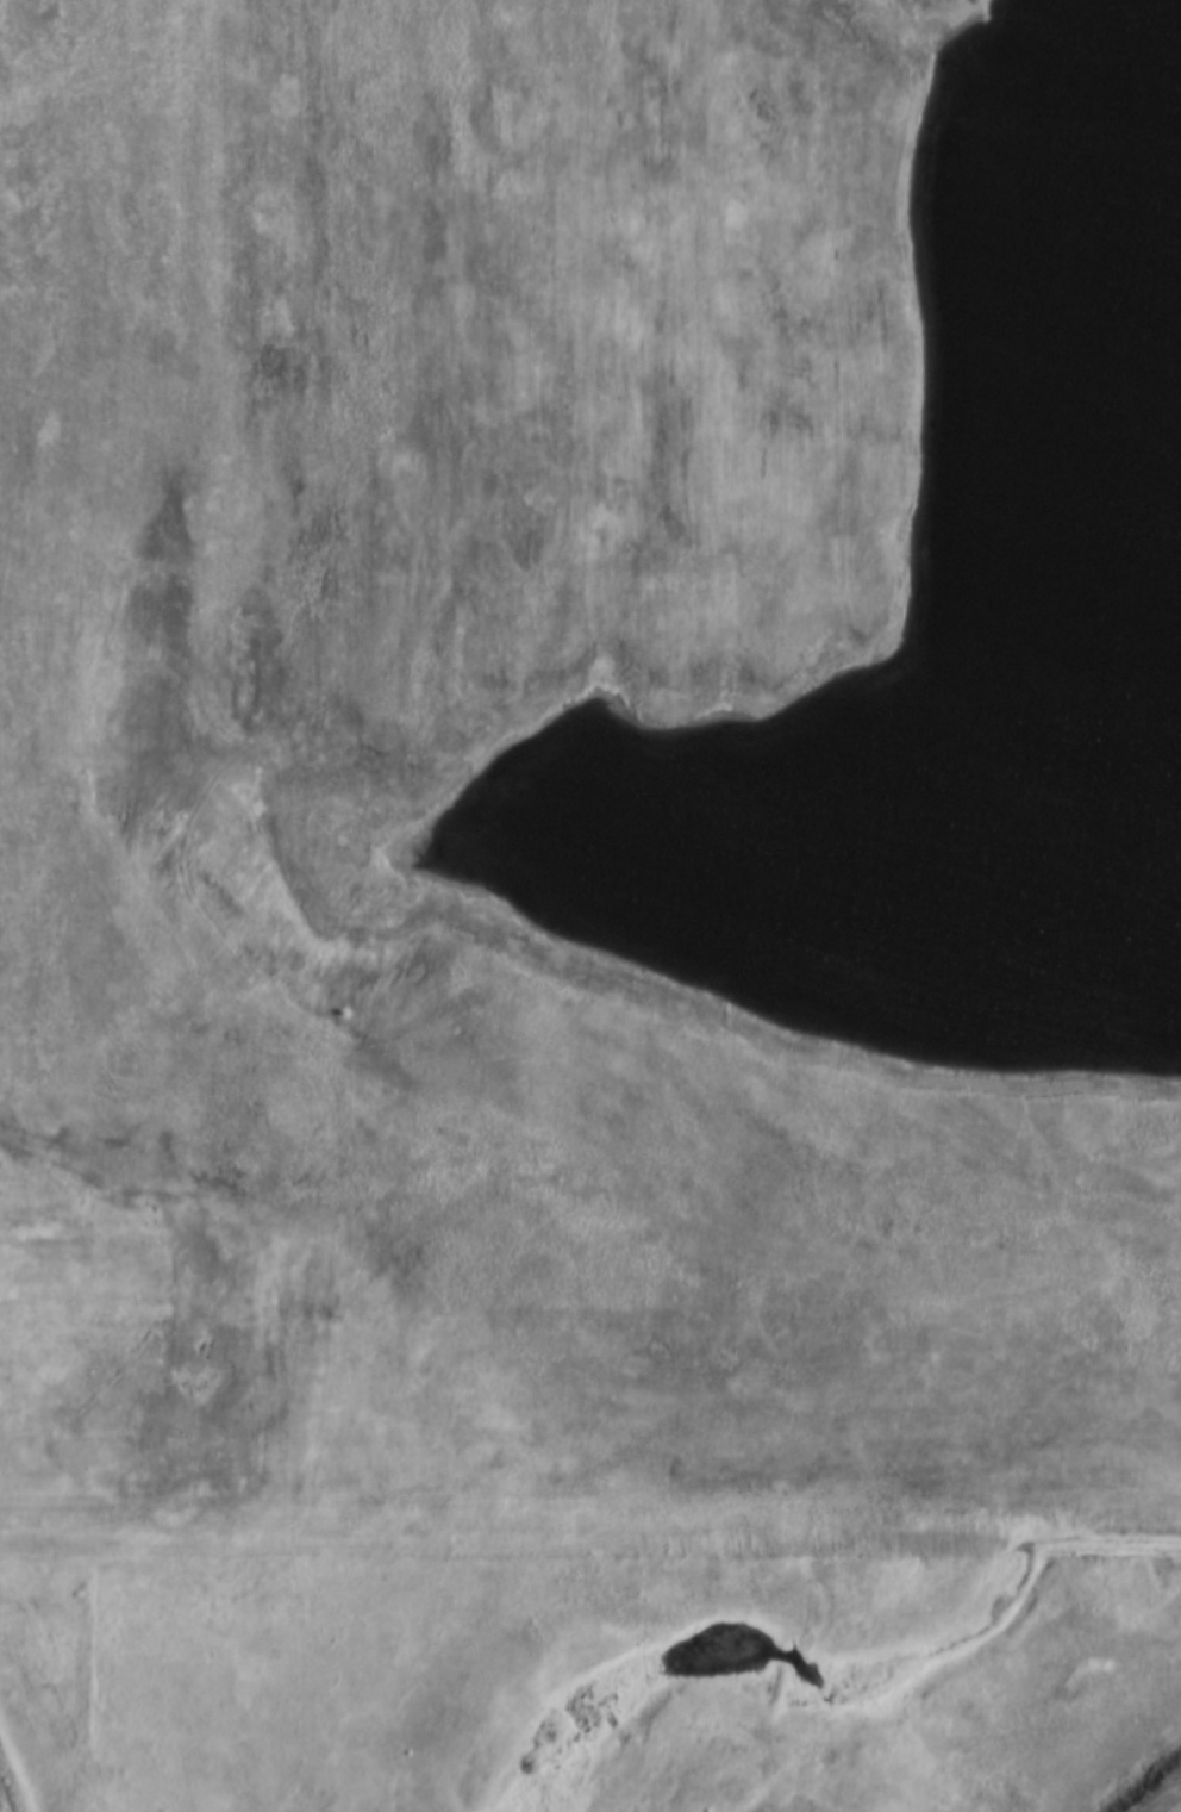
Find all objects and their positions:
quarry: (1150, 1788)
road: (6, 1794)
road: (1158, 1797)

